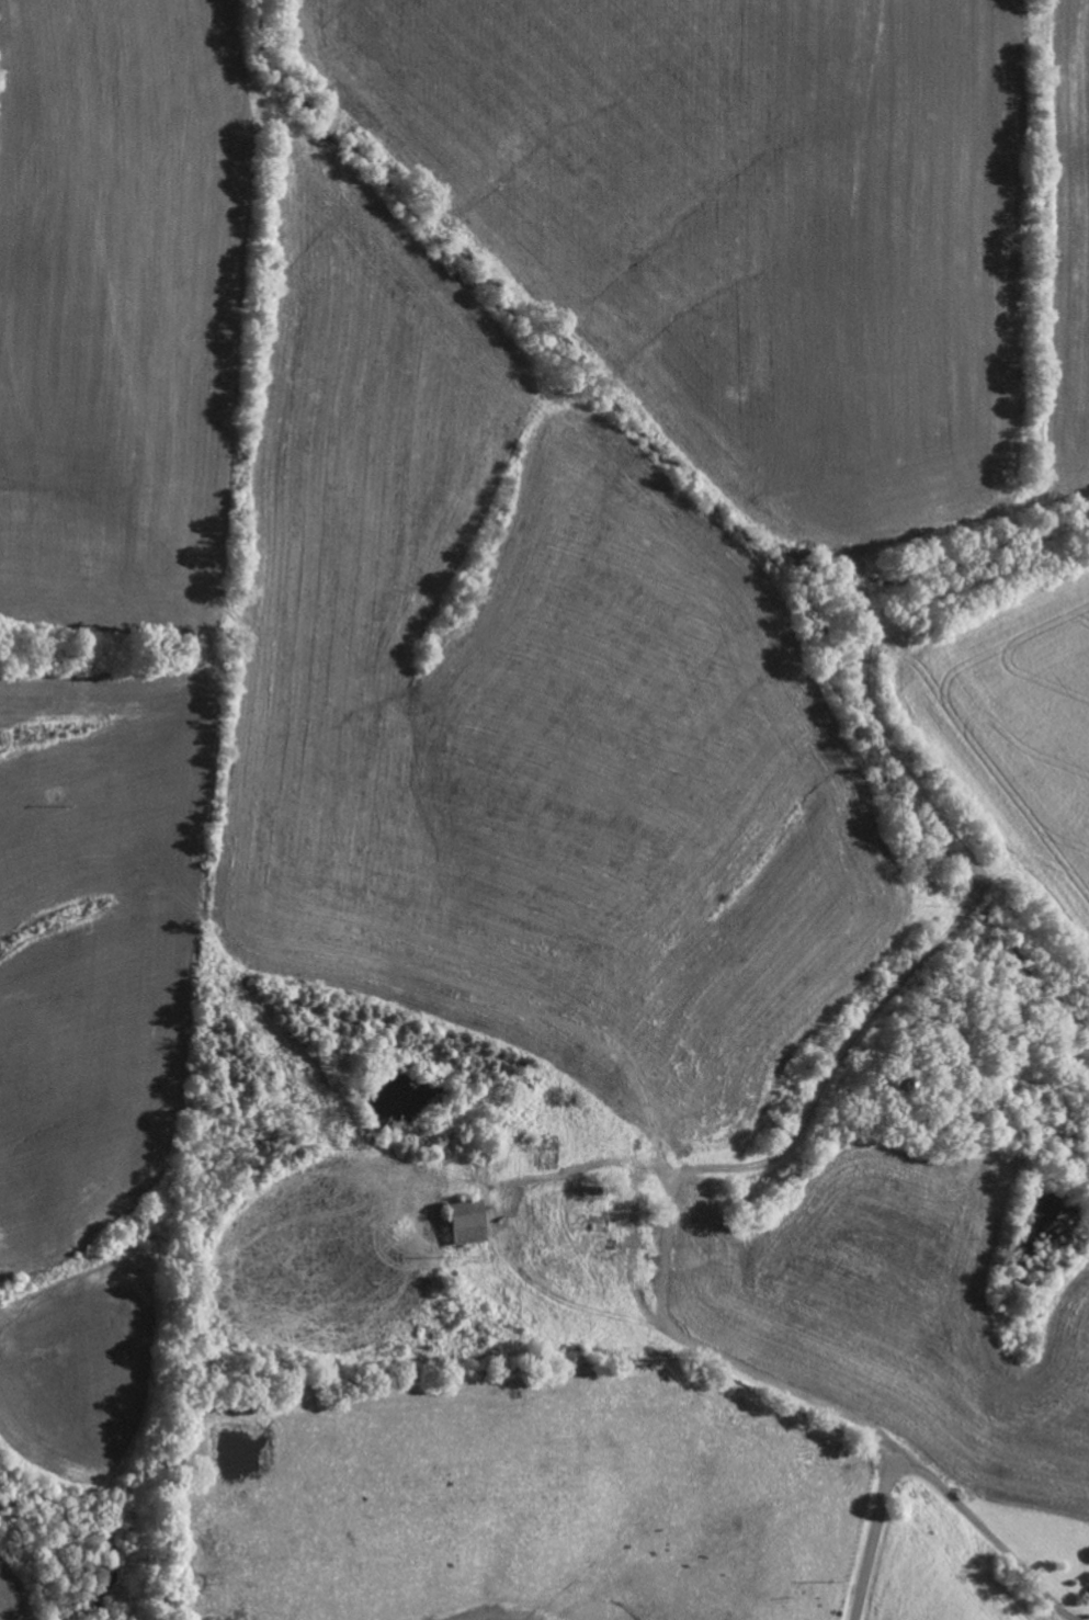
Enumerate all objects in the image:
building: (473, 1222)
road: (876, 1438)
road: (875, 1545)

